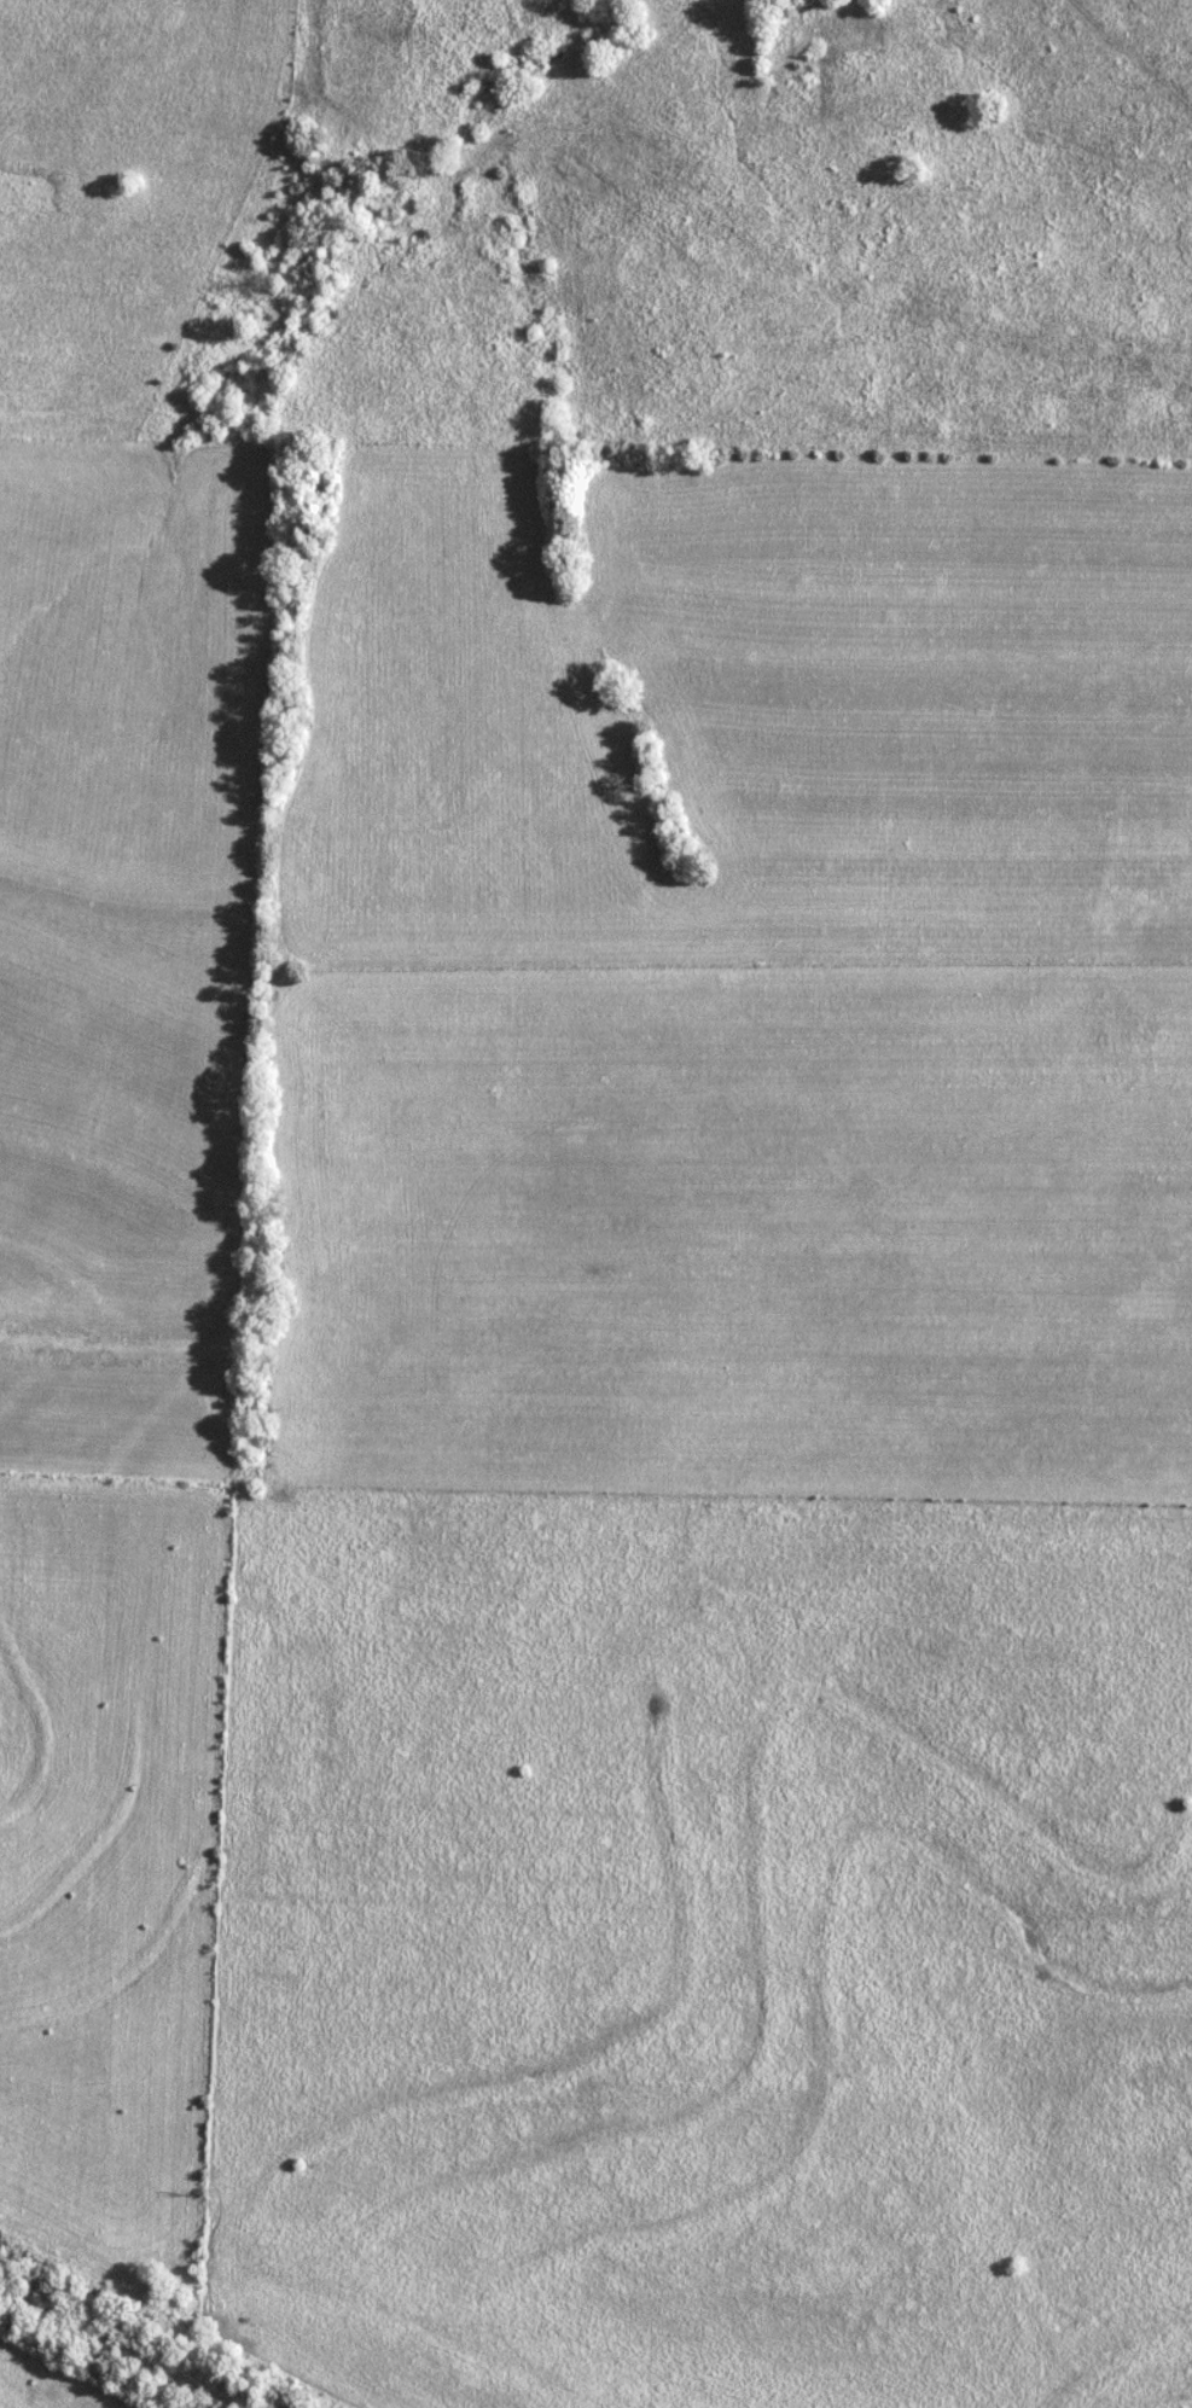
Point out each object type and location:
building: (1091, 642)
building: (956, 720)
building: (842, 785)

